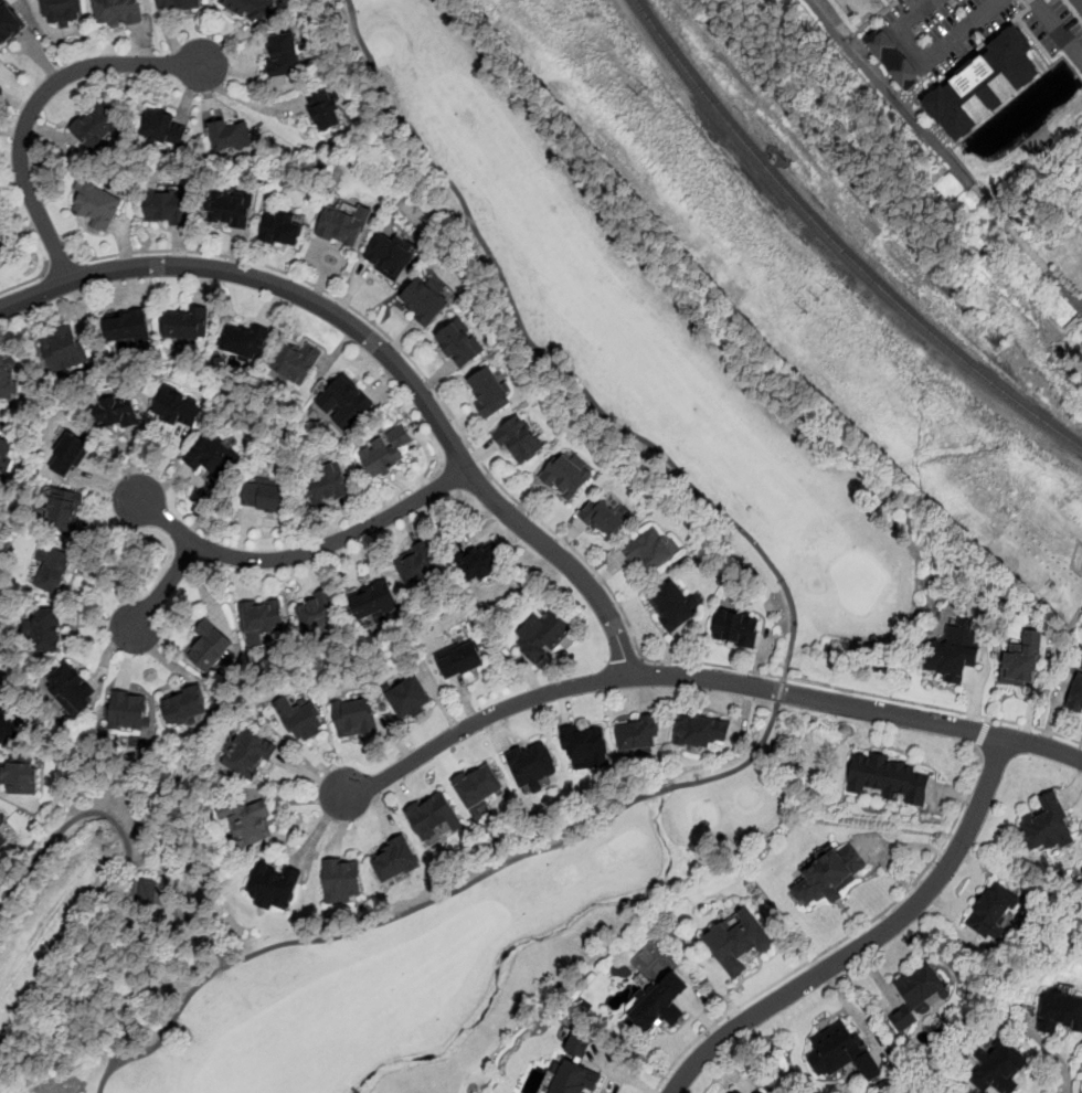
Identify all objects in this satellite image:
building: (1079, 3)
building: (180, 4)
building: (248, 8)
building: (62, 11)
building: (118, 12)
building: (9, 21)
road: (1060, 25)
building: (283, 56)
building: (893, 59)
road: (931, 59)
building: (986, 83)
road: (888, 94)
road: (245, 100)
road: (34, 105)
building: (325, 108)
building: (97, 127)
building: (165, 129)
building: (231, 137)
power tower: (712, 168)
building: (98, 206)
building: (167, 206)
building: (231, 209)
building: (341, 227)
road: (1009, 227)
building: (280, 231)
building: (0, 235)
railway: (838, 244)
building: (1, 251)
building: (389, 256)
road: (61, 264)
road: (28, 282)
road: (1063, 288)
power tower: (818, 299)
building: (423, 303)
building: (187, 323)
building: (127, 327)
building: (244, 341)
building: (459, 344)
building: (63, 350)
road: (383, 352)
road: (561, 353)
building: (296, 363)
building: (9, 378)
building: (489, 392)
building: (344, 404)
building: (178, 408)
building: (114, 413)
building: (519, 441)
building: (385, 452)
building: (4, 454)
building: (68, 456)
building: (213, 457)
building: (566, 476)
building: (326, 485)
building: (264, 498)
building: (63, 511)
building: (603, 519)
road: (555, 533)
park: (813, 549)
building: (648, 551)
road: (299, 555)
building: (481, 564)
building: (415, 566)
building: (52, 571)
road: (162, 591)
building: (373, 602)
building: (671, 606)
building: (317, 613)
building: (262, 619)
building: (734, 628)
building: (45, 630)
building: (541, 635)
building: (208, 648)
building: (953, 652)
building: (460, 660)
building: (1022, 661)
building: (71, 689)
building: (1076, 692)
building: (409, 698)
building: (182, 707)
road: (857, 709)
building: (127, 711)
building: (354, 718)
building: (300, 721)
building: (6, 723)
road: (478, 723)
building: (701, 732)
road: (982, 733)
building: (637, 736)
building: (585, 746)
building: (248, 755)
road: (746, 763)
building: (531, 764)
building: (20, 778)
building: (890, 778)
building: (478, 785)
building: (433, 815)
building: (2, 823)
building: (248, 824)
road: (67, 826)
building: (1047, 826)
building: (3, 841)
building: (394, 859)
building: (829, 876)
building: (342, 880)
building: (272, 888)
building: (994, 912)
road: (369, 926)
road: (844, 937)
road: (869, 942)
building: (739, 943)
road: (126, 985)
building: (920, 995)
building: (661, 1004)
building: (1060, 1012)
road: (165, 1030)
building: (579, 1046)
building: (841, 1052)
road: (1052, 1053)
building: (1000, 1068)
building: (570, 1079)
building: (735, 1091)
building: (754, 1092)
building: (757, 1092)

